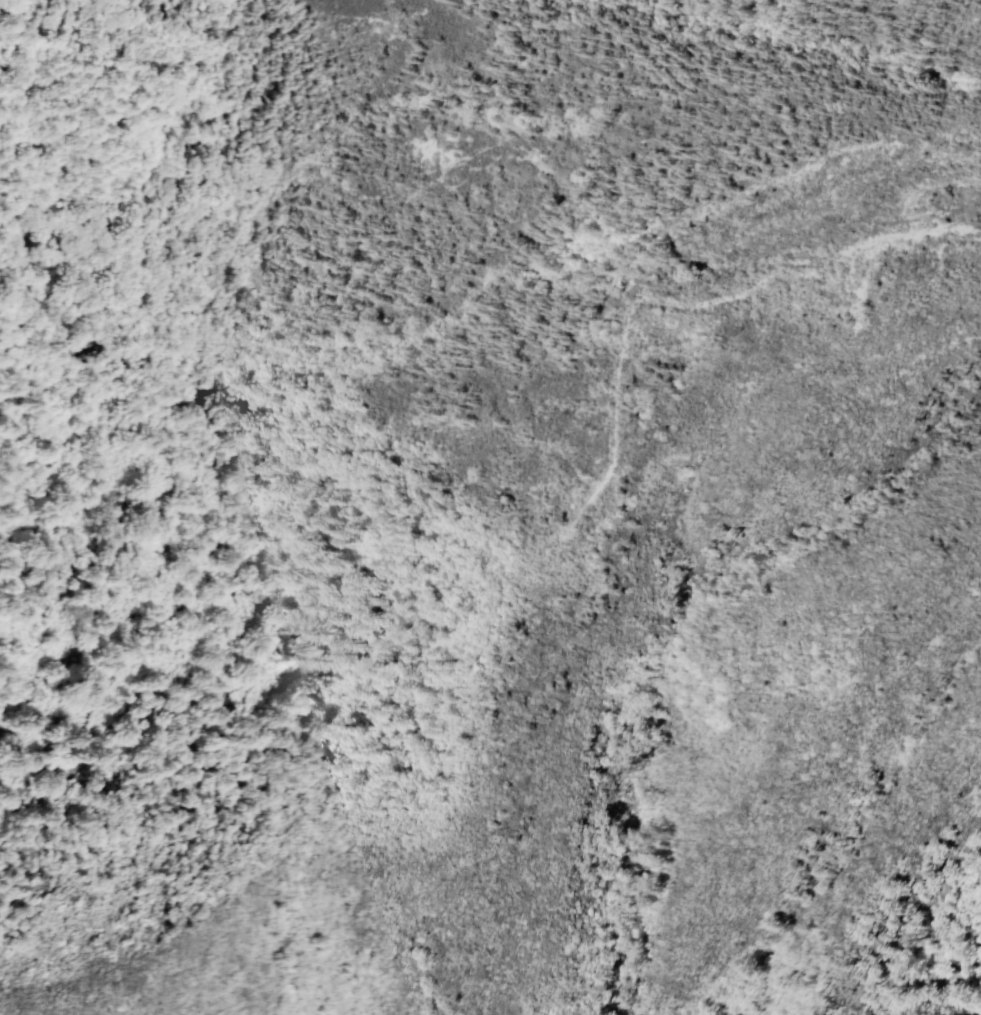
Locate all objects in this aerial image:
road: (930, 180)
road: (924, 214)
road: (661, 229)
road: (668, 298)
road: (502, 426)

